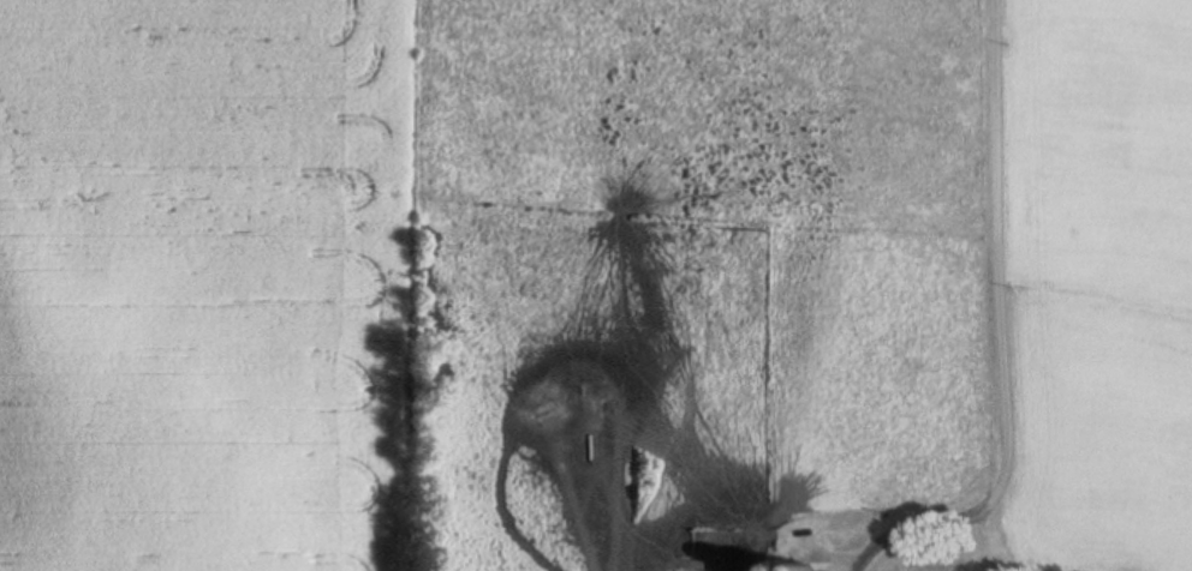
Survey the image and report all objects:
road: (973, 269)
building: (763, 570)

